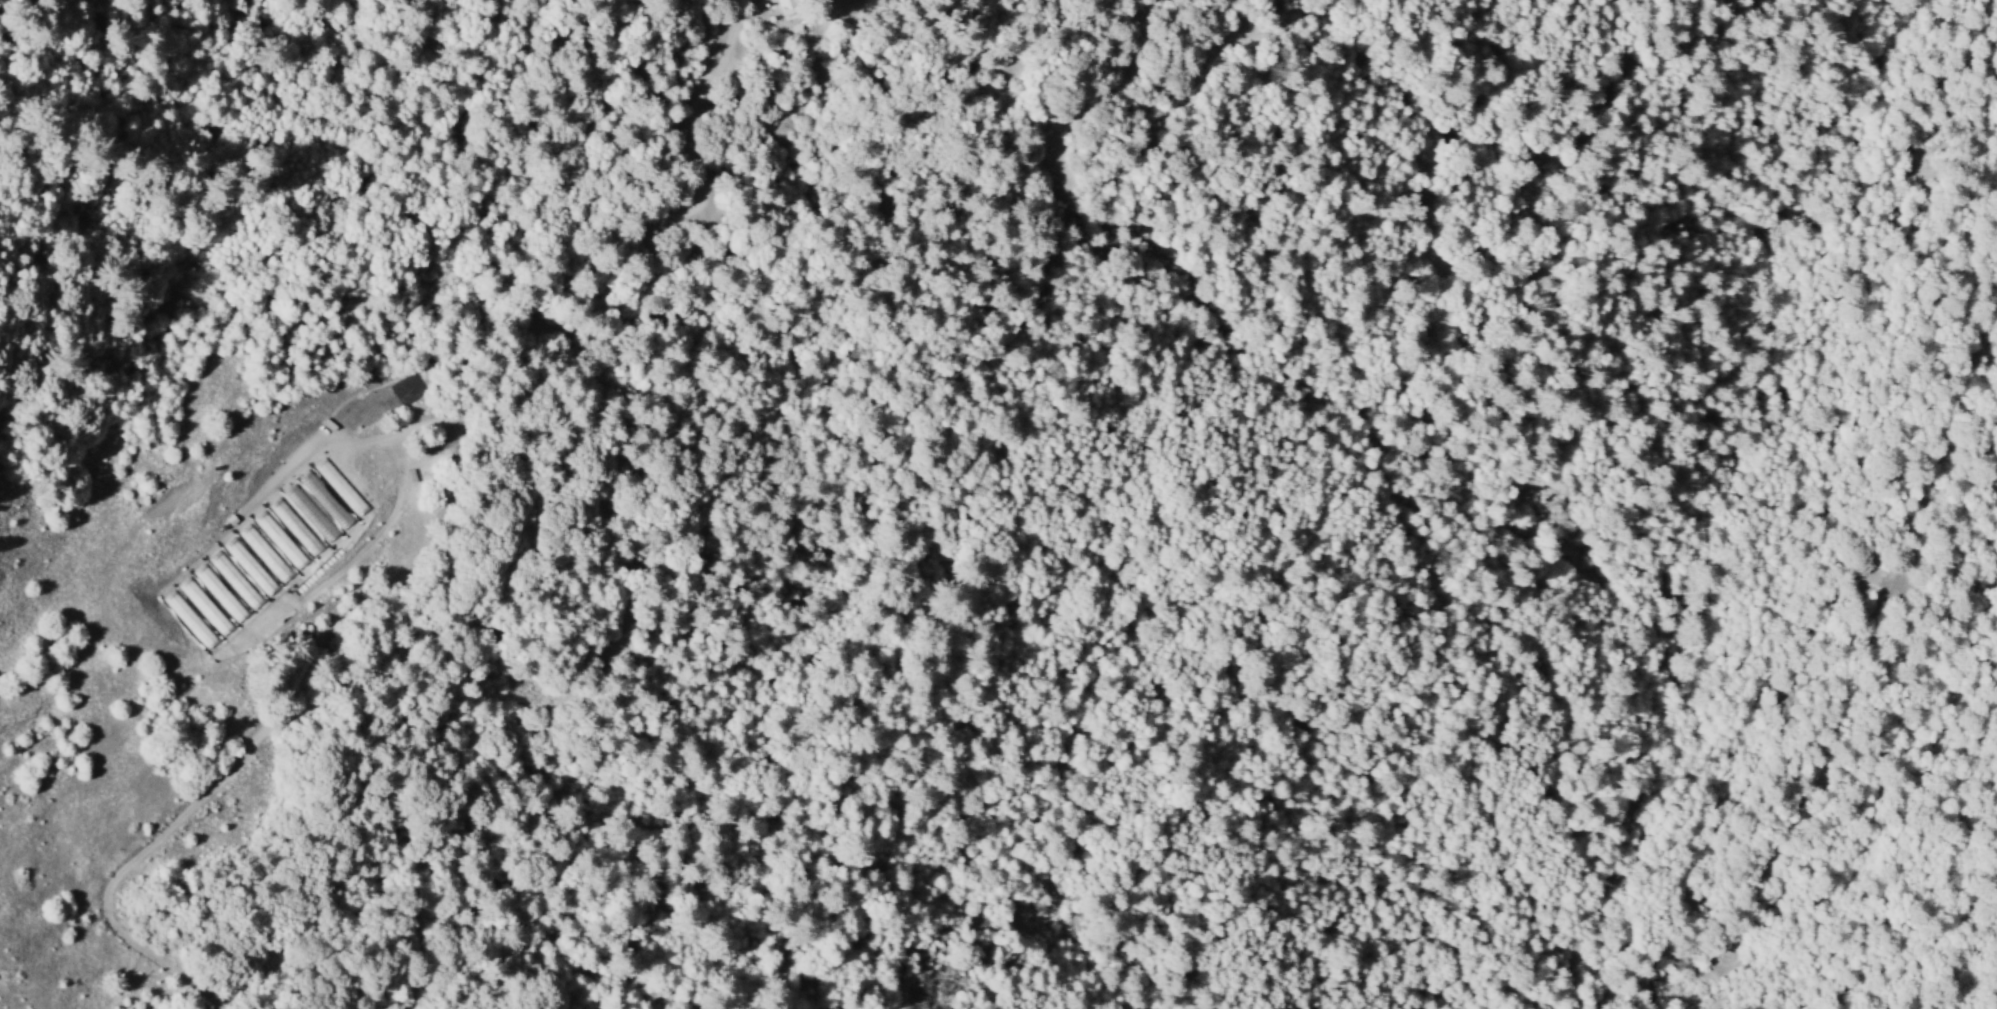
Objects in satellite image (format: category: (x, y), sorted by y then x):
building: (789, 10)
building: (339, 489)
building: (286, 536)

